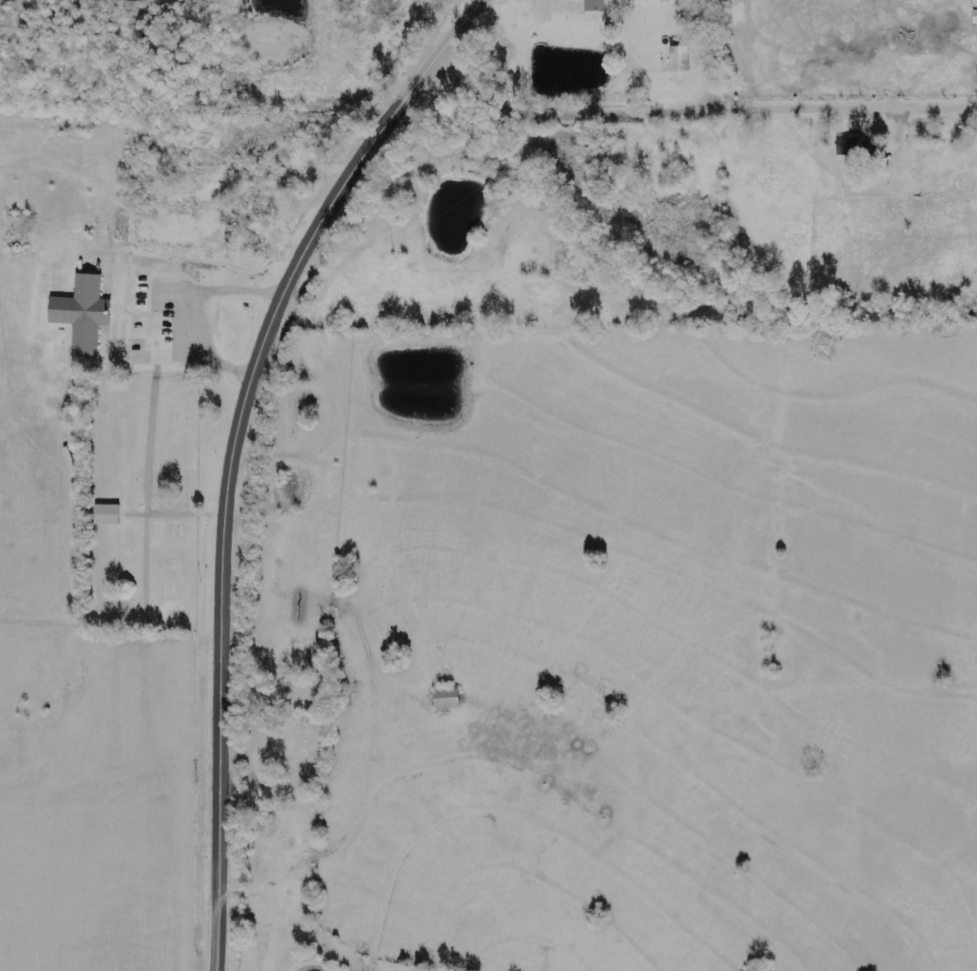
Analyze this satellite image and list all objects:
building: (594, 5)
building: (974, 17)
road: (721, 57)
building: (679, 59)
road: (694, 115)
building: (854, 146)
building: (82, 313)
road: (232, 450)
park: (135, 510)
building: (107, 514)
building: (446, 698)

